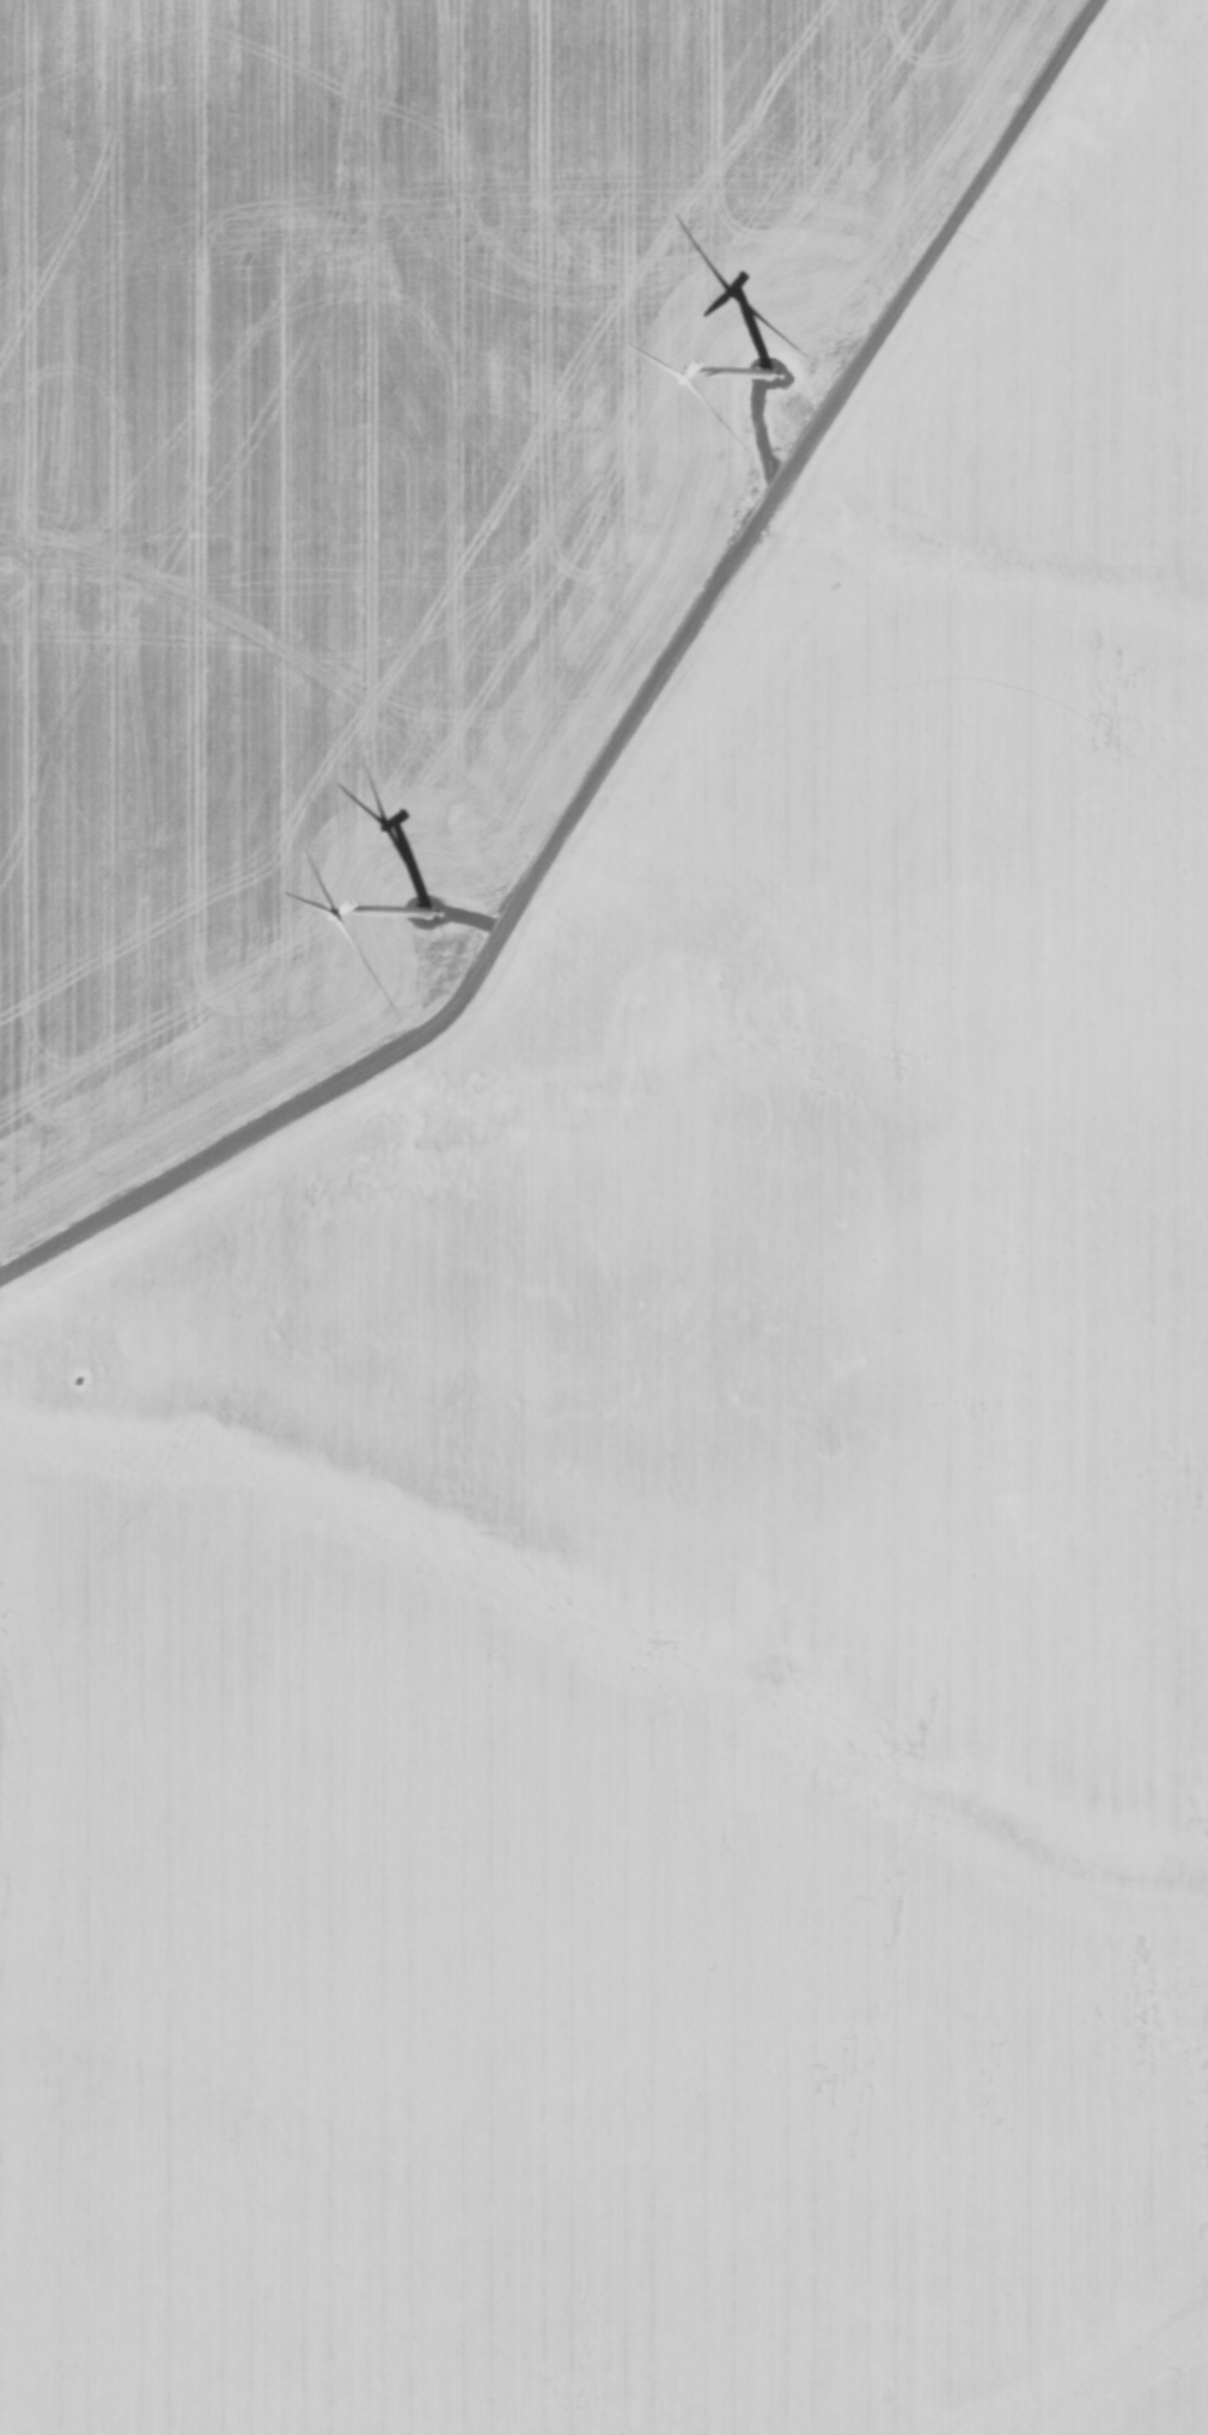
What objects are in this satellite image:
wind turbine: (746, 376)
road: (622, 712)
wind turbine: (419, 923)

